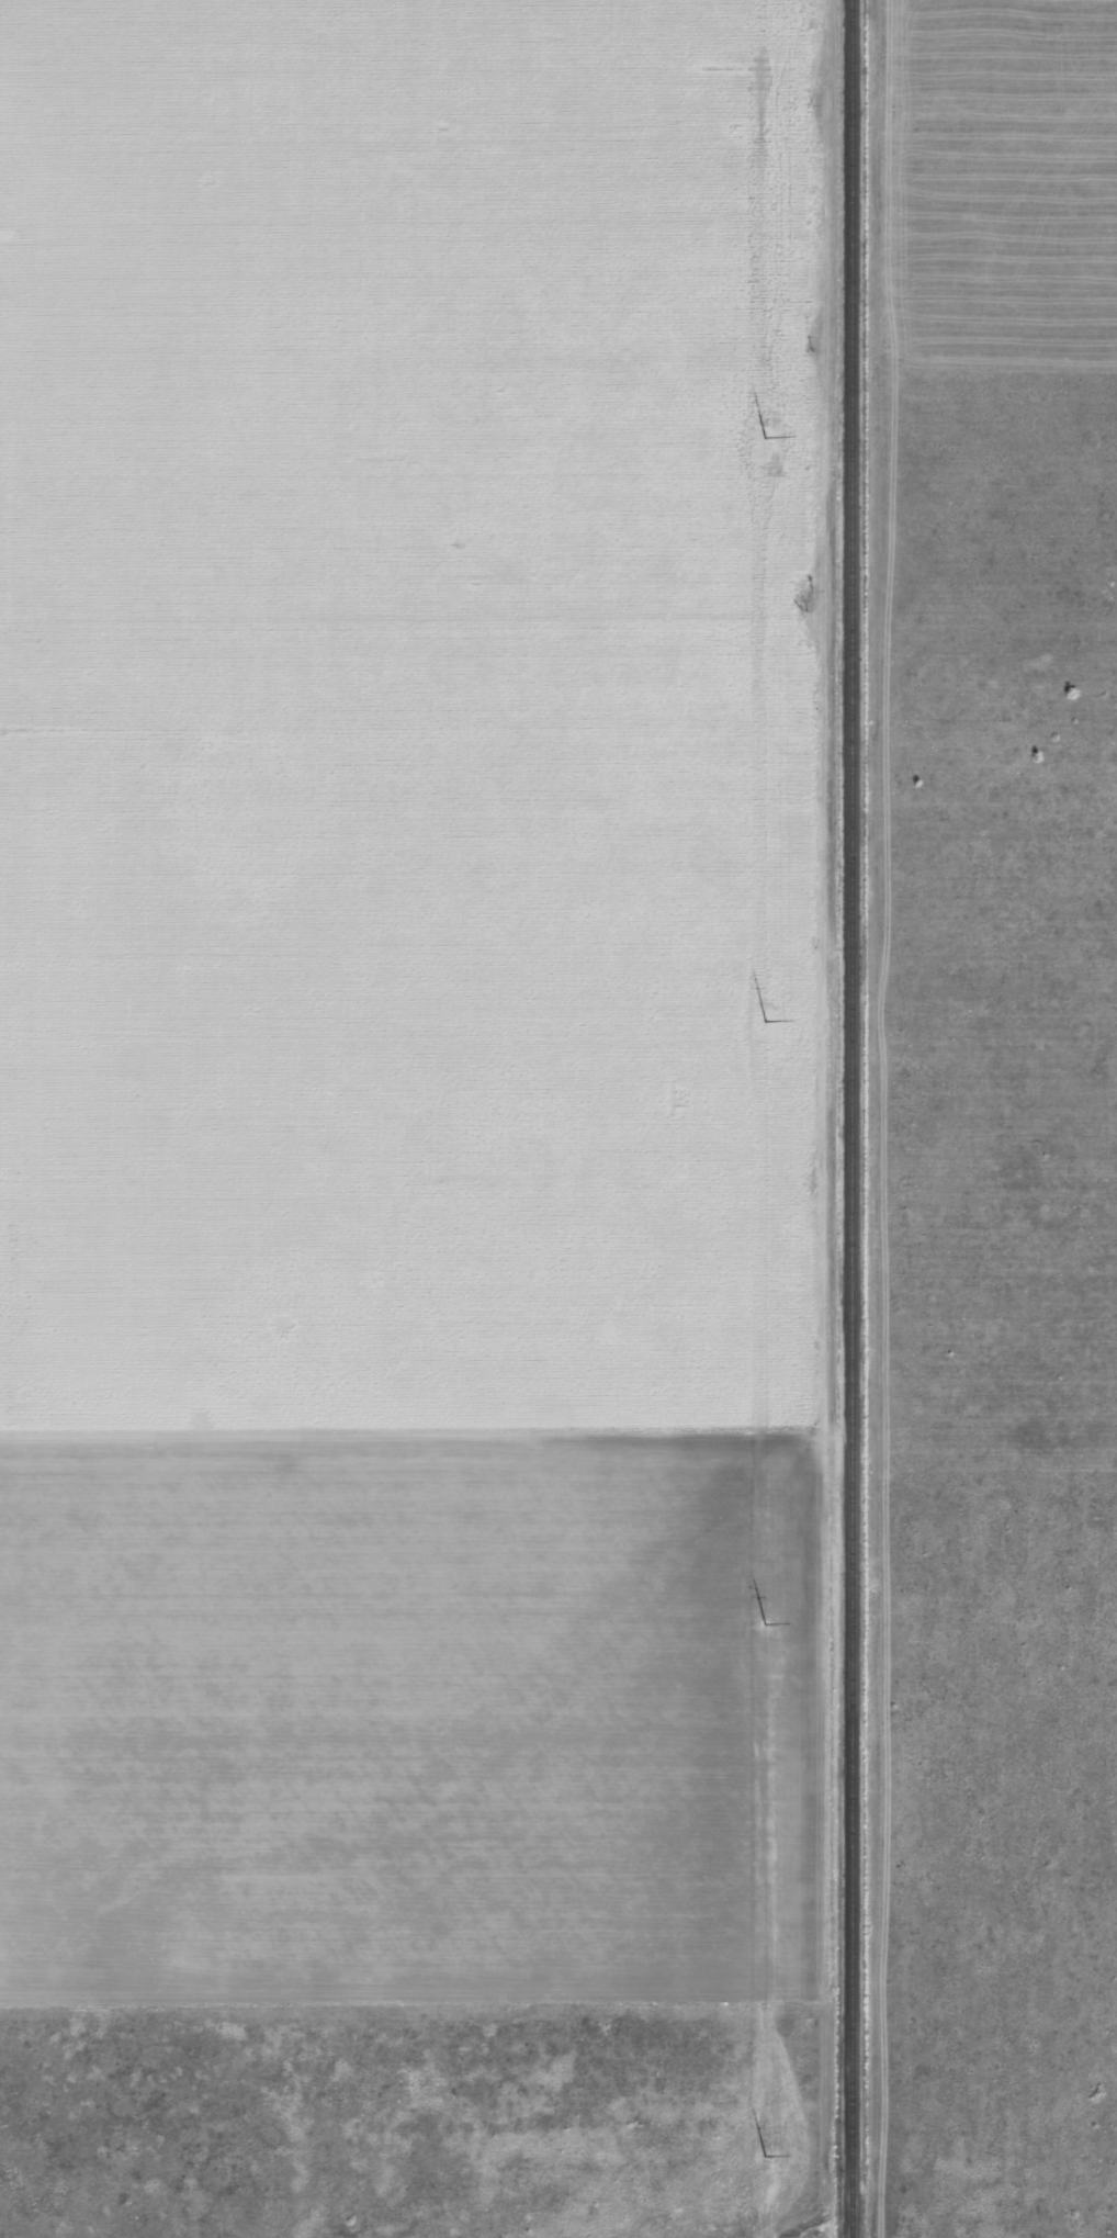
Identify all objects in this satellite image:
railway: (851, 1118)

